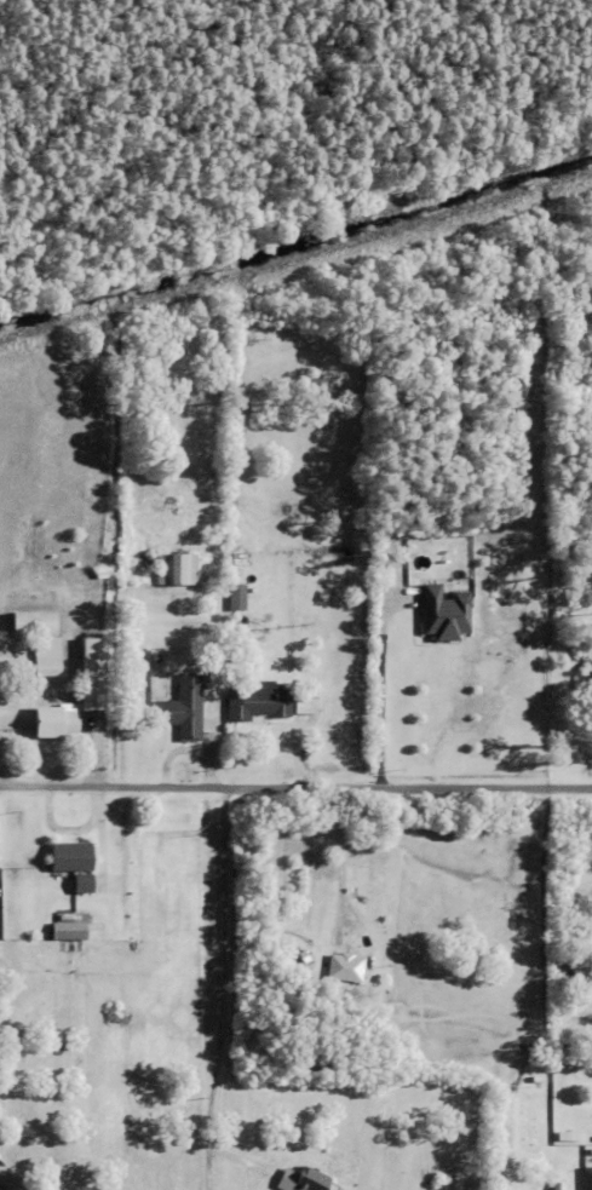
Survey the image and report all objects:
river: (295, 242)
building: (569, 321)
building: (237, 558)
building: (176, 565)
building: (238, 597)
building: (446, 614)
building: (246, 643)
building: (48, 656)
building: (155, 659)
building: (94, 673)
building: (587, 680)
building: (260, 701)
building: (185, 709)
building: (56, 722)
road: (295, 788)
building: (74, 863)
building: (68, 930)
building: (1, 950)
building: (346, 967)
building: (580, 975)
building: (588, 1134)
building: (569, 1137)
building: (586, 1177)
building: (305, 1180)
building: (551, 1185)

